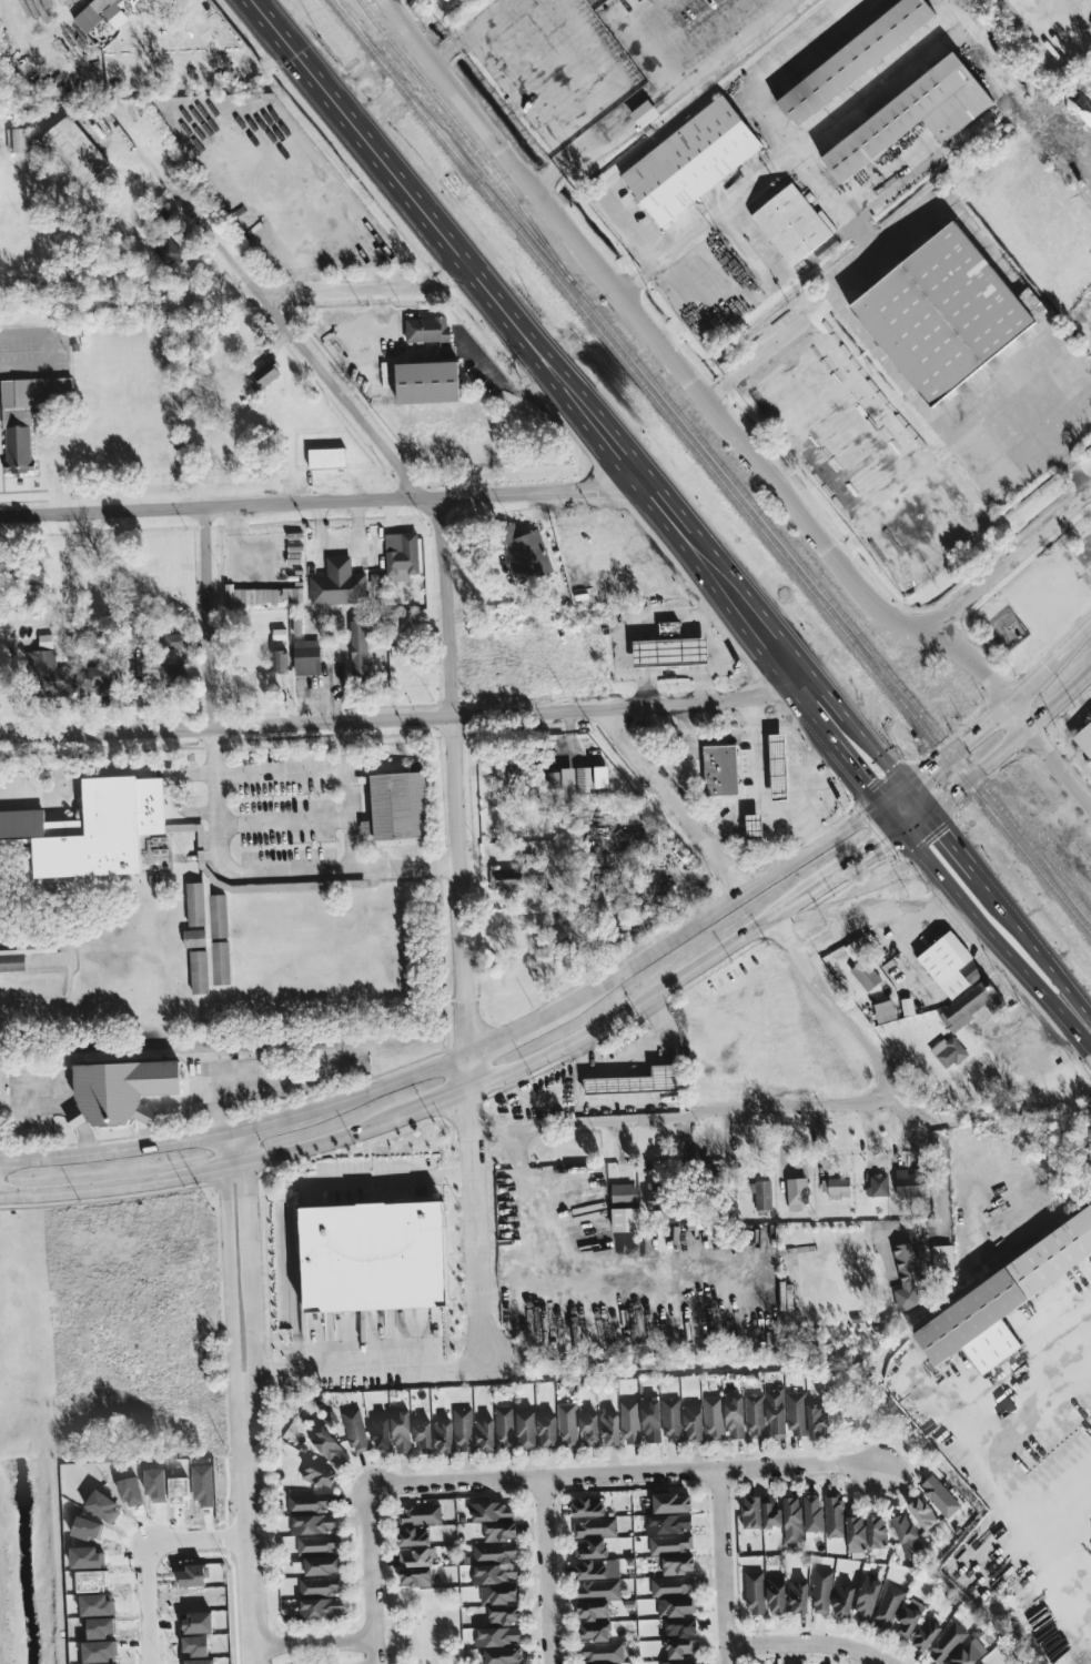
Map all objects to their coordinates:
building: (111, 12)
road: (431, 17)
road: (471, 31)
road: (410, 32)
road: (638, 33)
road: (594, 41)
road: (727, 51)
building: (855, 58)
road: (393, 92)
building: (644, 113)
building: (911, 115)
road: (484, 128)
road: (598, 129)
railway: (468, 137)
building: (16, 140)
building: (75, 150)
building: (691, 162)
road: (821, 189)
road: (708, 225)
building: (790, 225)
road: (643, 226)
road: (449, 242)
road: (579, 242)
road: (856, 272)
road: (366, 286)
building: (941, 313)
building: (426, 330)
building: (766, 333)
road: (49, 349)
road: (307, 350)
building: (264, 375)
building: (431, 376)
road: (506, 385)
building: (27, 415)
road: (896, 445)
building: (327, 457)
railway: (717, 460)
railway: (709, 467)
road: (323, 502)
road: (663, 506)
road: (357, 523)
road: (317, 525)
road: (339, 546)
building: (402, 549)
building: (528, 556)
road: (1013, 557)
road: (847, 565)
building: (33, 574)
building: (375, 581)
building: (339, 583)
building: (267, 597)
road: (740, 604)
road: (210, 616)
road: (637, 621)
road: (738, 638)
building: (171, 639)
building: (46, 642)
building: (358, 646)
building: (670, 648)
building: (306, 657)
road: (1050, 658)
building: (280, 660)
road: (709, 669)
building: (51, 675)
building: (102, 675)
building: (171, 675)
road: (703, 685)
road: (1059, 697)
road: (834, 700)
road: (811, 716)
road: (402, 717)
building: (1084, 738)
road: (880, 755)
building: (778, 767)
building: (720, 769)
road: (281, 772)
road: (856, 773)
road: (455, 777)
building: (584, 779)
building: (553, 780)
traffic signals: (902, 780)
road: (967, 780)
road: (57, 790)
road: (348, 794)
road: (915, 796)
road: (674, 800)
traffic signals: (876, 800)
road: (762, 804)
building: (398, 806)
traffic signals: (927, 813)
road: (730, 816)
road: (890, 816)
road: (282, 819)
road: (808, 821)
building: (754, 826)
building: (366, 827)
building: (97, 830)
traffic signals: (906, 833)
road: (959, 853)
road: (863, 863)
road: (935, 867)
road: (267, 873)
building: (505, 879)
road: (887, 920)
building: (206, 938)
road: (1042, 956)
road: (643, 957)
building: (950, 965)
road: (1026, 970)
building: (866, 975)
road: (649, 998)
building: (973, 1001)
building: (885, 1011)
road: (837, 1013)
building: (949, 1051)
road: (468, 1075)
building: (636, 1082)
road: (212, 1087)
building: (121, 1090)
road: (436, 1103)
road: (59, 1107)
road: (472, 1111)
road: (218, 1115)
road: (688, 1119)
road: (118, 1151)
road: (952, 1161)
road: (205, 1177)
road: (388, 1178)
building: (911, 1182)
building: (878, 1186)
building: (838, 1187)
building: (624, 1192)
building: (797, 1192)
building: (762, 1194)
building: (654, 1197)
building: (625, 1219)
building: (695, 1220)
road: (478, 1243)
building: (374, 1255)
road: (240, 1257)
building: (942, 1258)
building: (909, 1274)
road: (549, 1283)
building: (1000, 1301)
road: (1065, 1321)
road: (365, 1360)
building: (776, 1411)
building: (797, 1413)
building: (734, 1414)
building: (755, 1415)
building: (713, 1418)
building: (817, 1419)
building: (650, 1420)
building: (671, 1420)
building: (693, 1421)
building: (629, 1422)
building: (567, 1424)
building: (609, 1428)
building: (505, 1429)
building: (526, 1429)
building: (355, 1430)
building: (463, 1430)
building: (588, 1430)
building: (401, 1431)
building: (547, 1431)
building: (380, 1432)
building: (484, 1434)
building: (443, 1436)
building: (423, 1438)
building: (329, 1446)
road: (996, 1468)
building: (319, 1475)
road: (627, 1475)
building: (939, 1495)
building: (309, 1502)
building: (671, 1503)
building: (587, 1506)
building: (492, 1511)
building: (751, 1512)
building: (812, 1513)
building: (922, 1513)
building: (792, 1514)
building: (835, 1515)
building: (771, 1516)
road: (251, 1519)
building: (313, 1523)
building: (669, 1523)
building: (596, 1526)
building: (501, 1531)
building: (876, 1532)
building: (856, 1534)
building: (413, 1536)
building: (907, 1537)
building: (670, 1543)
building: (319, 1544)
building: (589, 1549)
building: (494, 1552)
building: (416, 1557)
road: (152, 1559)
building: (678, 1564)
building: (317, 1565)
road: (725, 1567)
building: (590, 1570)
road: (547, 1571)
road: (367, 1573)
building: (495, 1573)
building: (415, 1577)
building: (321, 1585)
building: (673, 1585)
building: (597, 1589)
building: (821, 1591)
building: (755, 1592)
building: (776, 1594)
building: (798, 1596)
building: (867, 1597)
building: (843, 1601)
building: (502, 1603)
building: (675, 1606)
building: (888, 1606)
building: (321, 1607)
building: (593, 1610)
building: (908, 1618)
building: (680, 1627)
building: (595, 1631)
building: (926, 1634)
building: (497, 1636)
road: (313, 1638)
road: (811, 1643)
building: (948, 1643)
building: (680, 1648)
building: (602, 1652)
building: (969, 1653)
building: (503, 1655)
building: (679, 1662)

